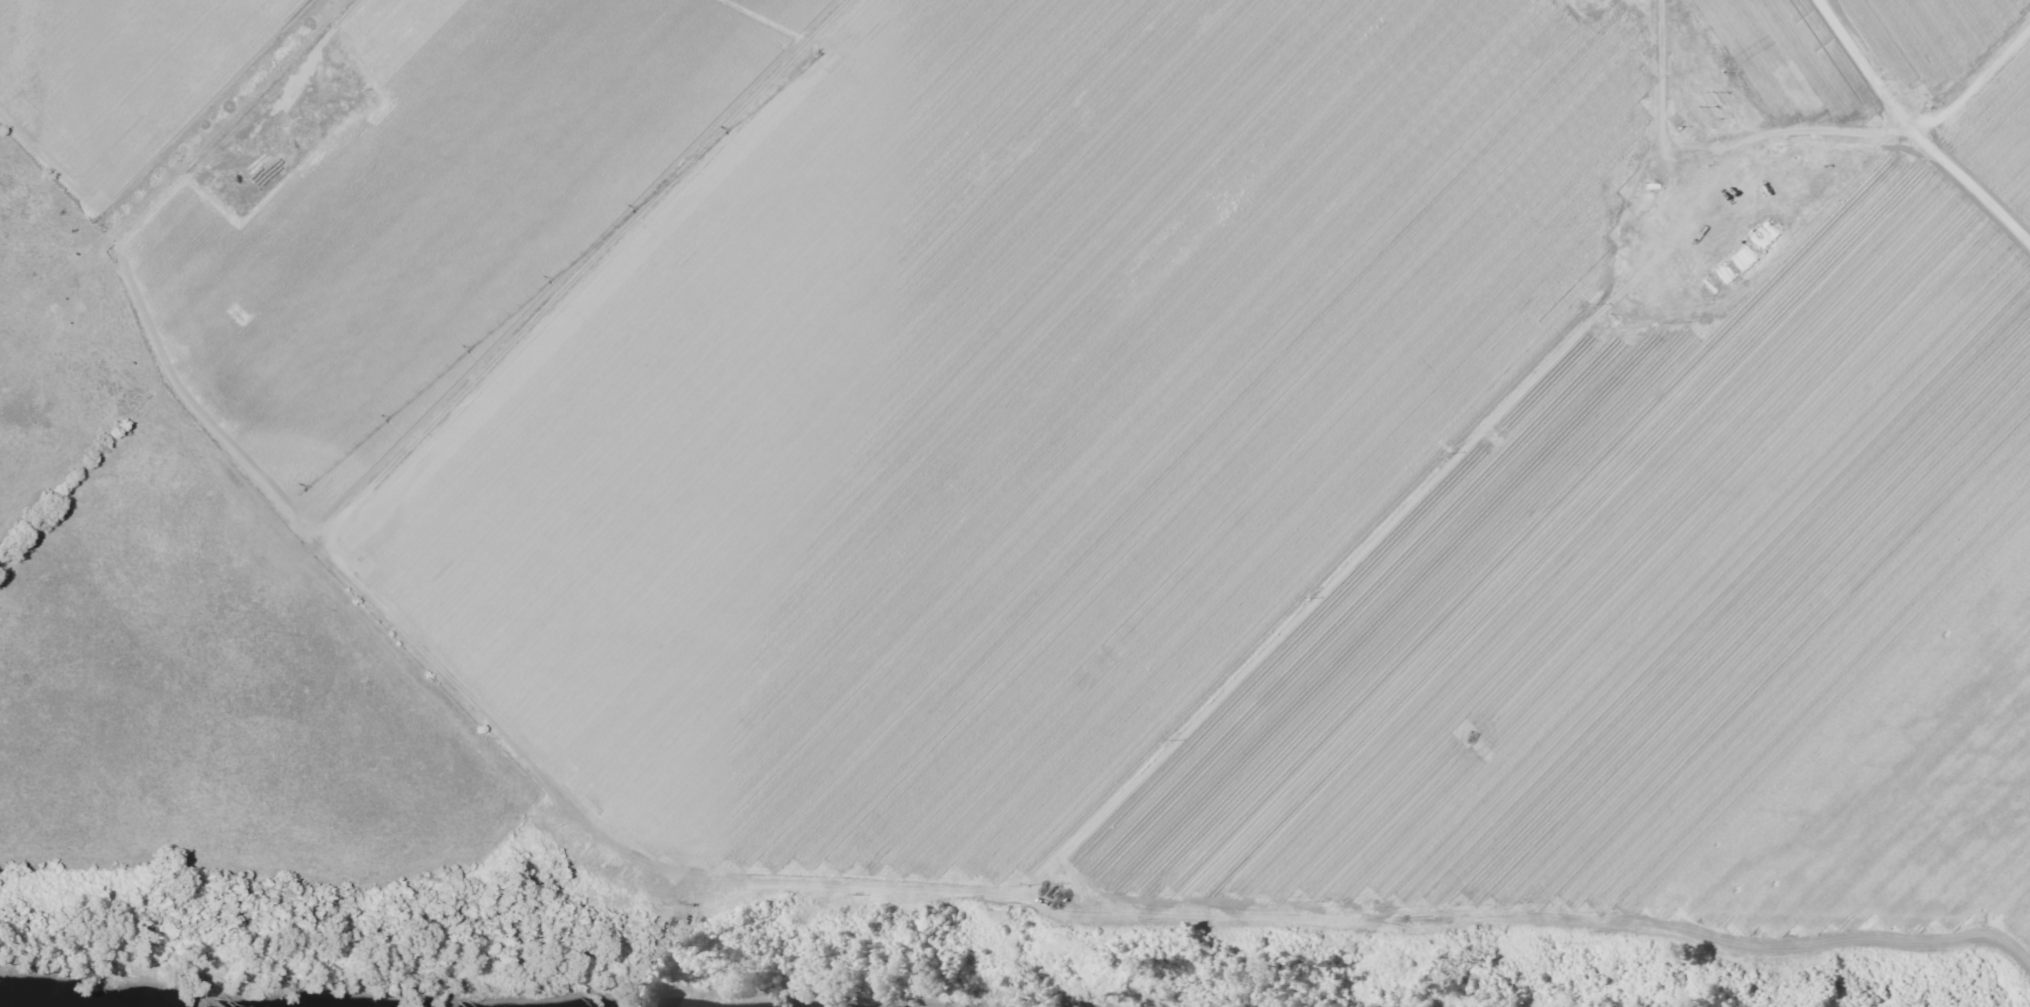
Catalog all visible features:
building: (343, 61)
silo: (343, 61)
road: (1863, 61)
building: (349, 67)
silo: (349, 67)
building: (356, 73)
silo: (356, 73)
petroleum well: (300, 146)
chimney: (217, 183)
road: (1968, 187)
chimney: (226, 192)

